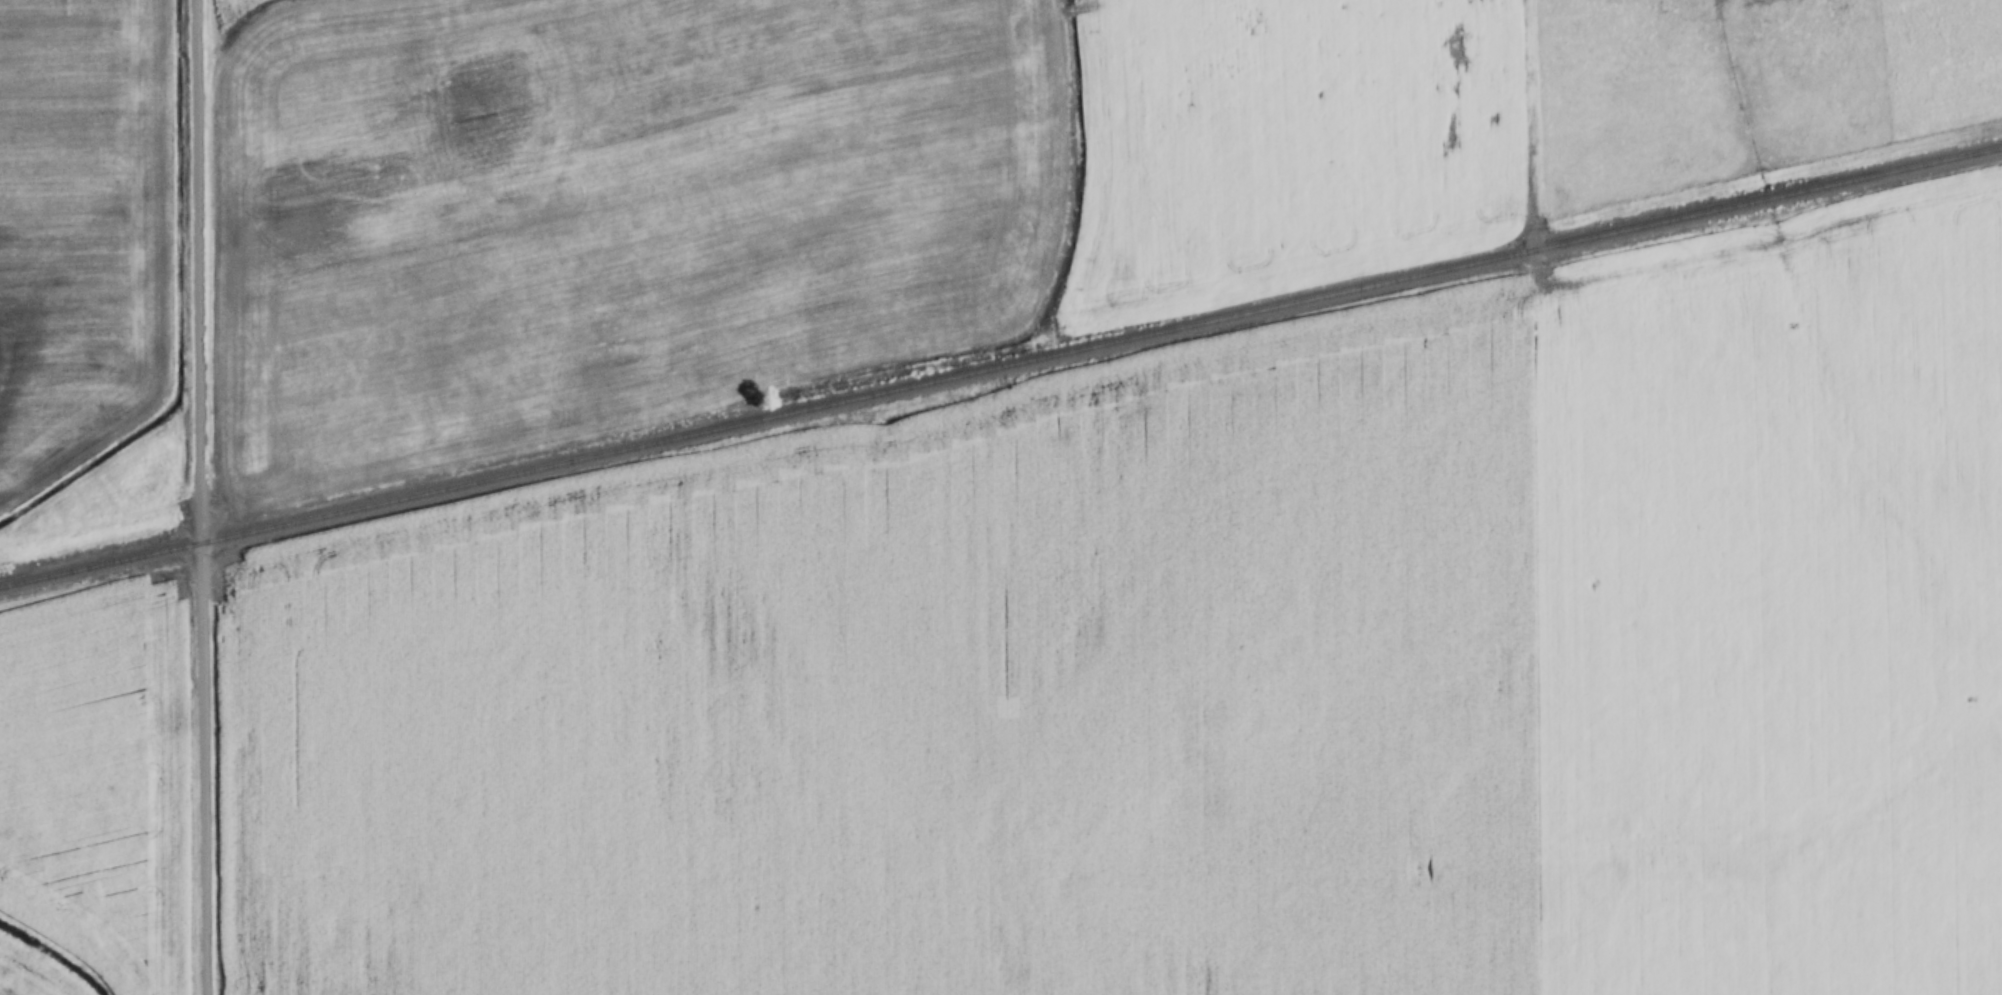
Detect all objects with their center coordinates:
railway: (1000, 366)
road: (199, 497)

